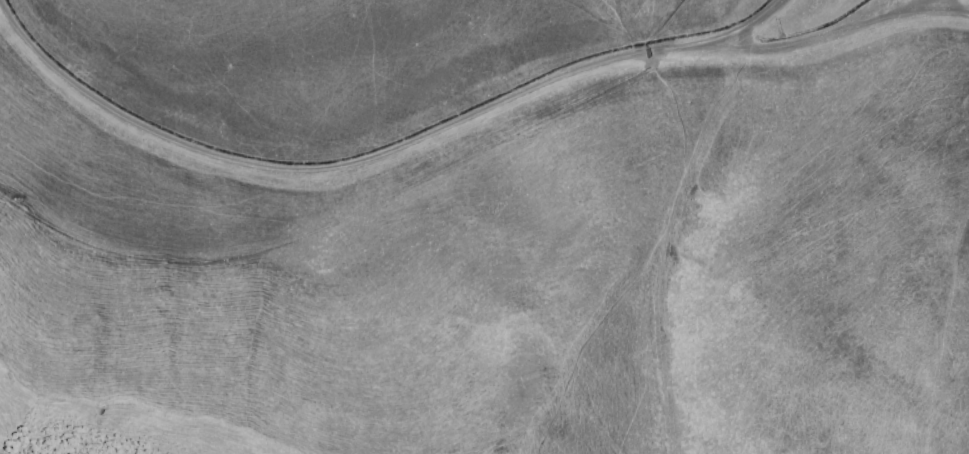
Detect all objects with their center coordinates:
road: (936, 5)
road: (806, 45)
road: (345, 171)

